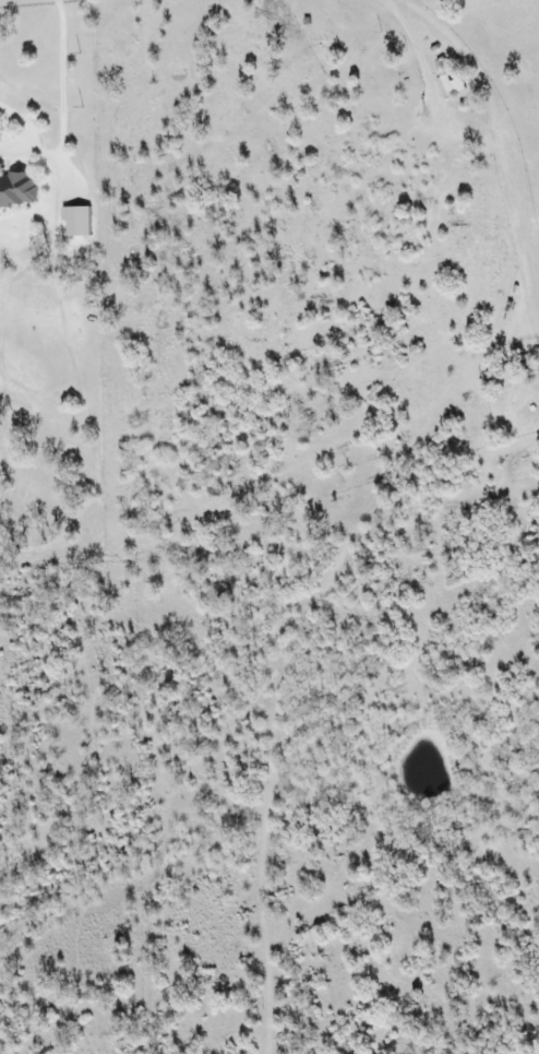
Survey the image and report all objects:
building: (447, 86)
building: (16, 191)
building: (73, 221)

